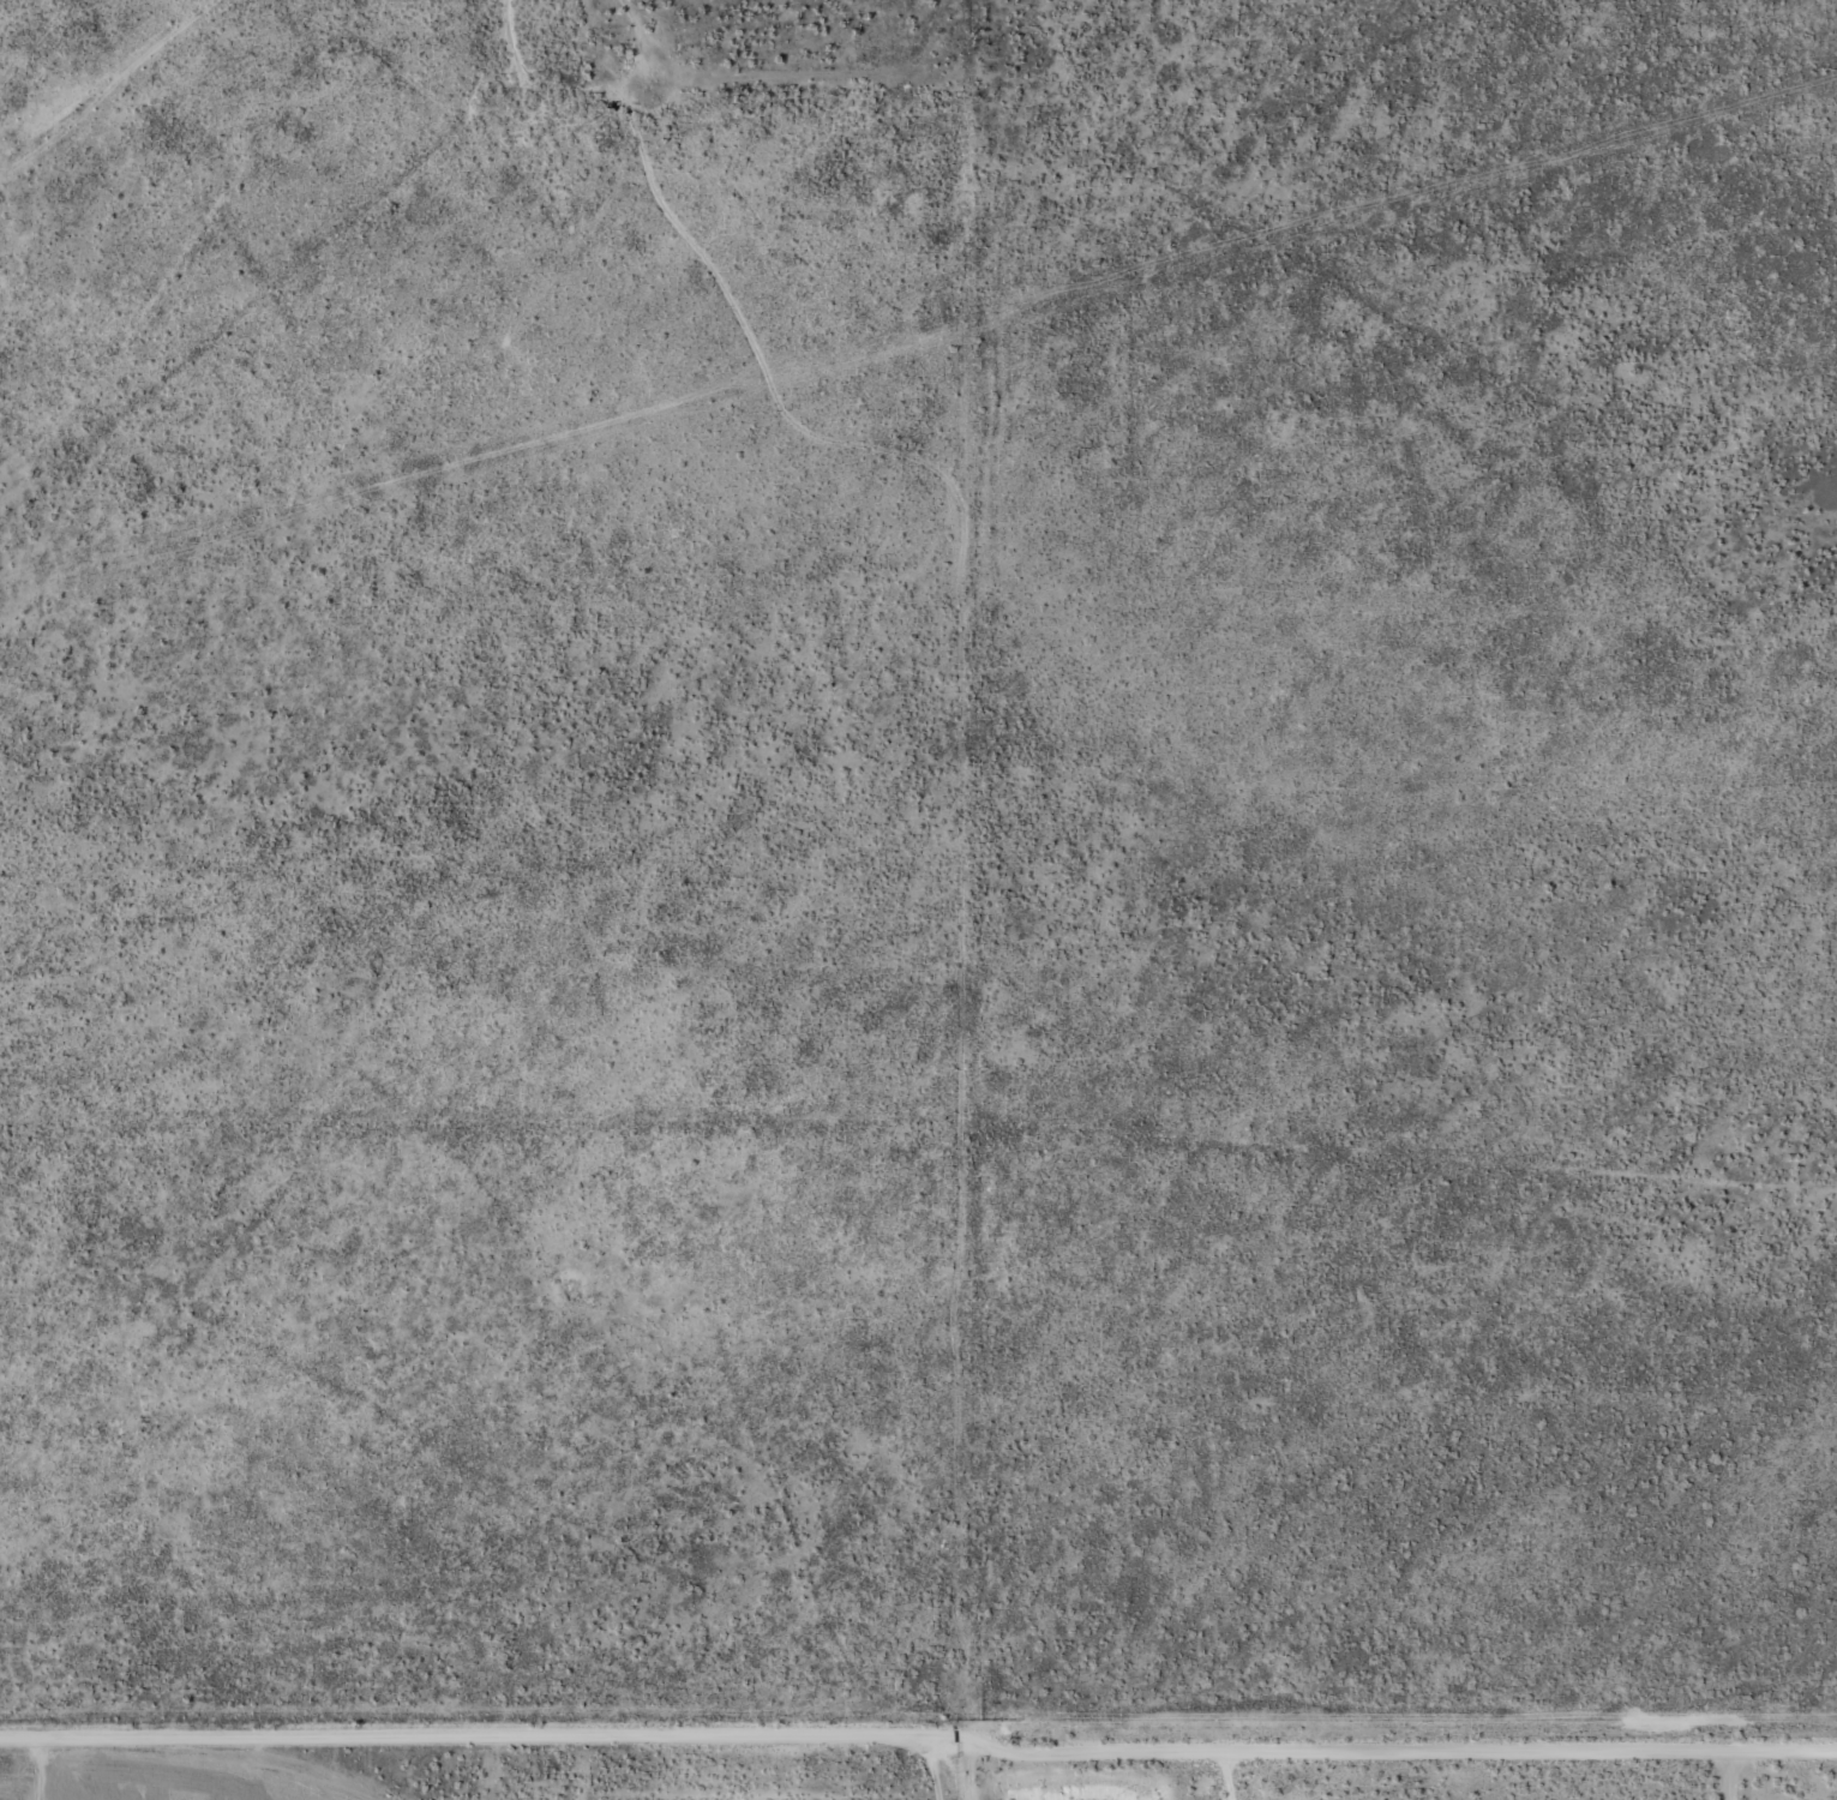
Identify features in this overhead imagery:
road: (920, 1726)

